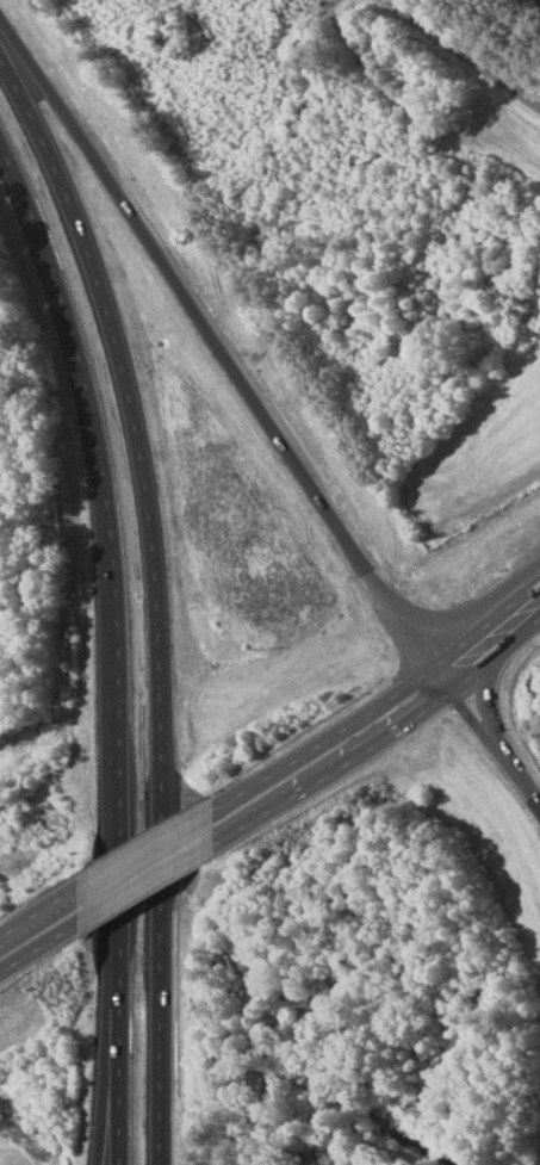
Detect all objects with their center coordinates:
road: (453, 57)
road: (222, 352)
road: (154, 589)
road: (491, 631)
road: (122, 636)
road: (365, 725)
road: (492, 735)
road: (181, 844)
road: (38, 932)
road: (112, 1091)

